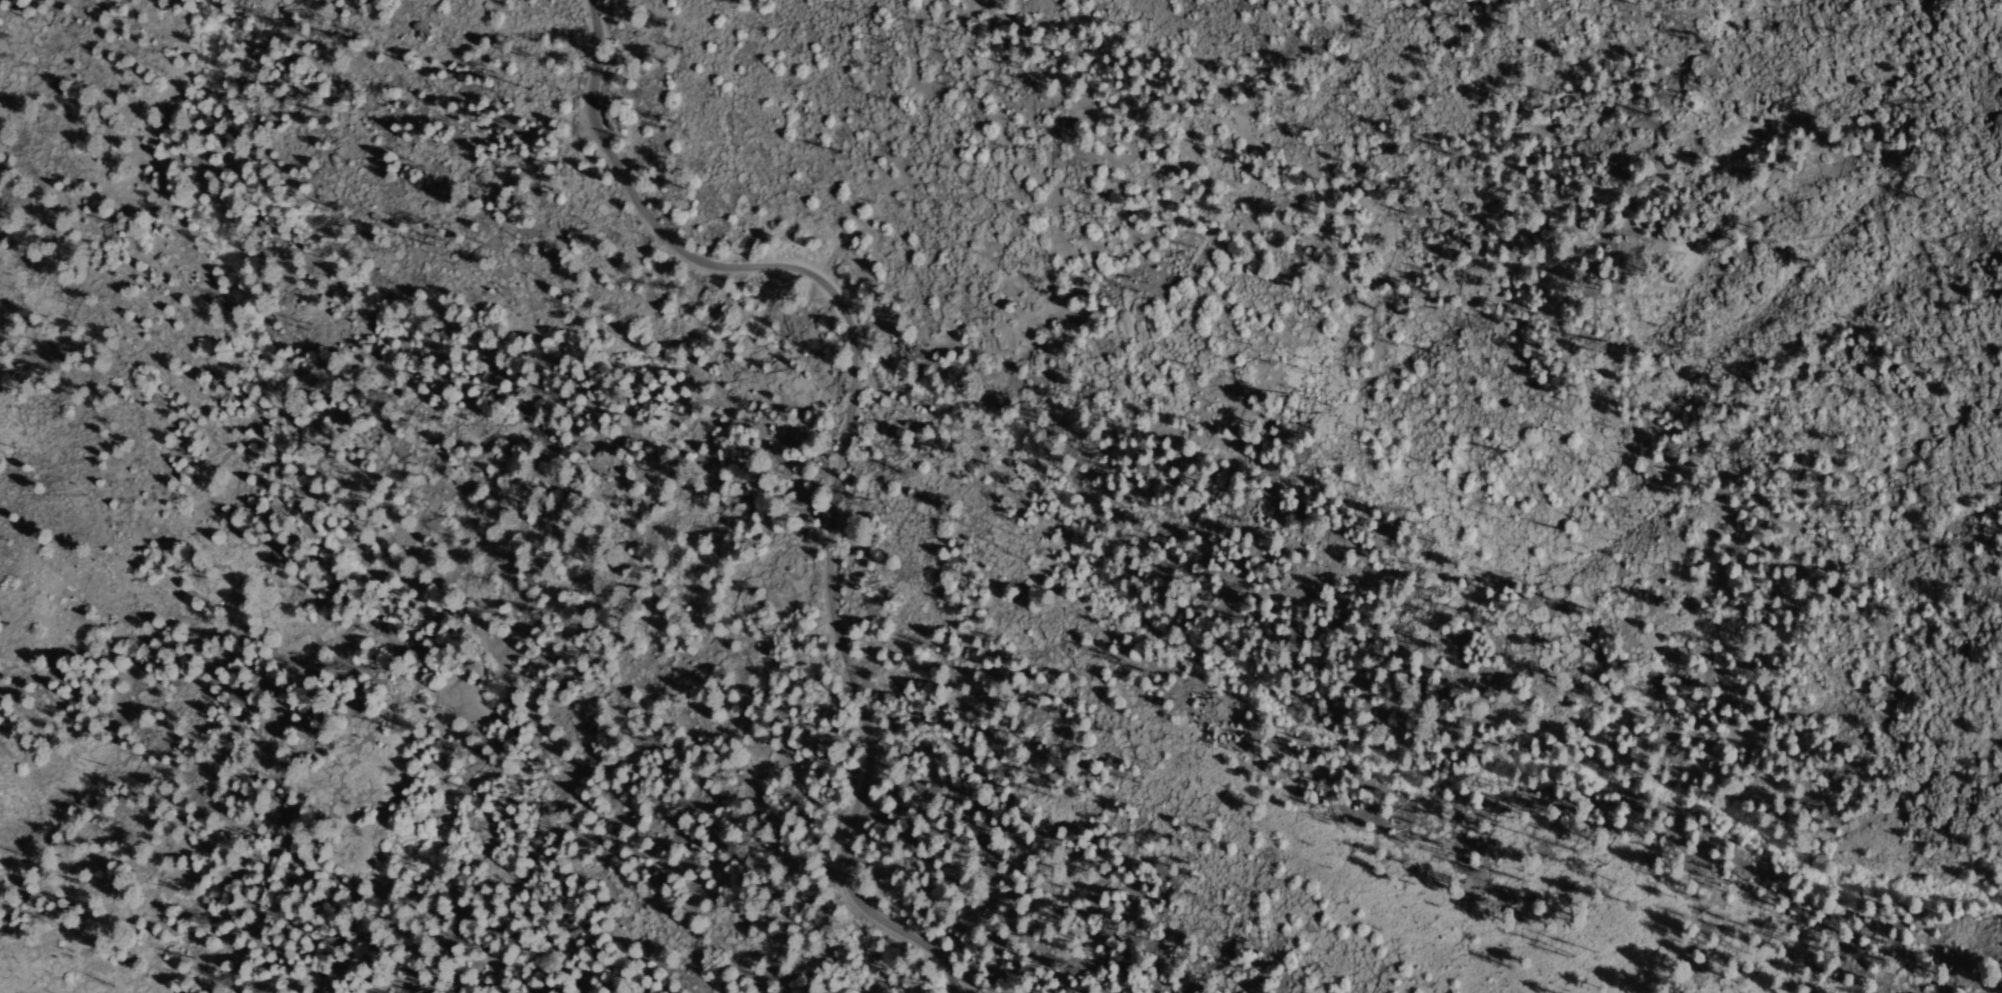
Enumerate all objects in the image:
road: (850, 448)

